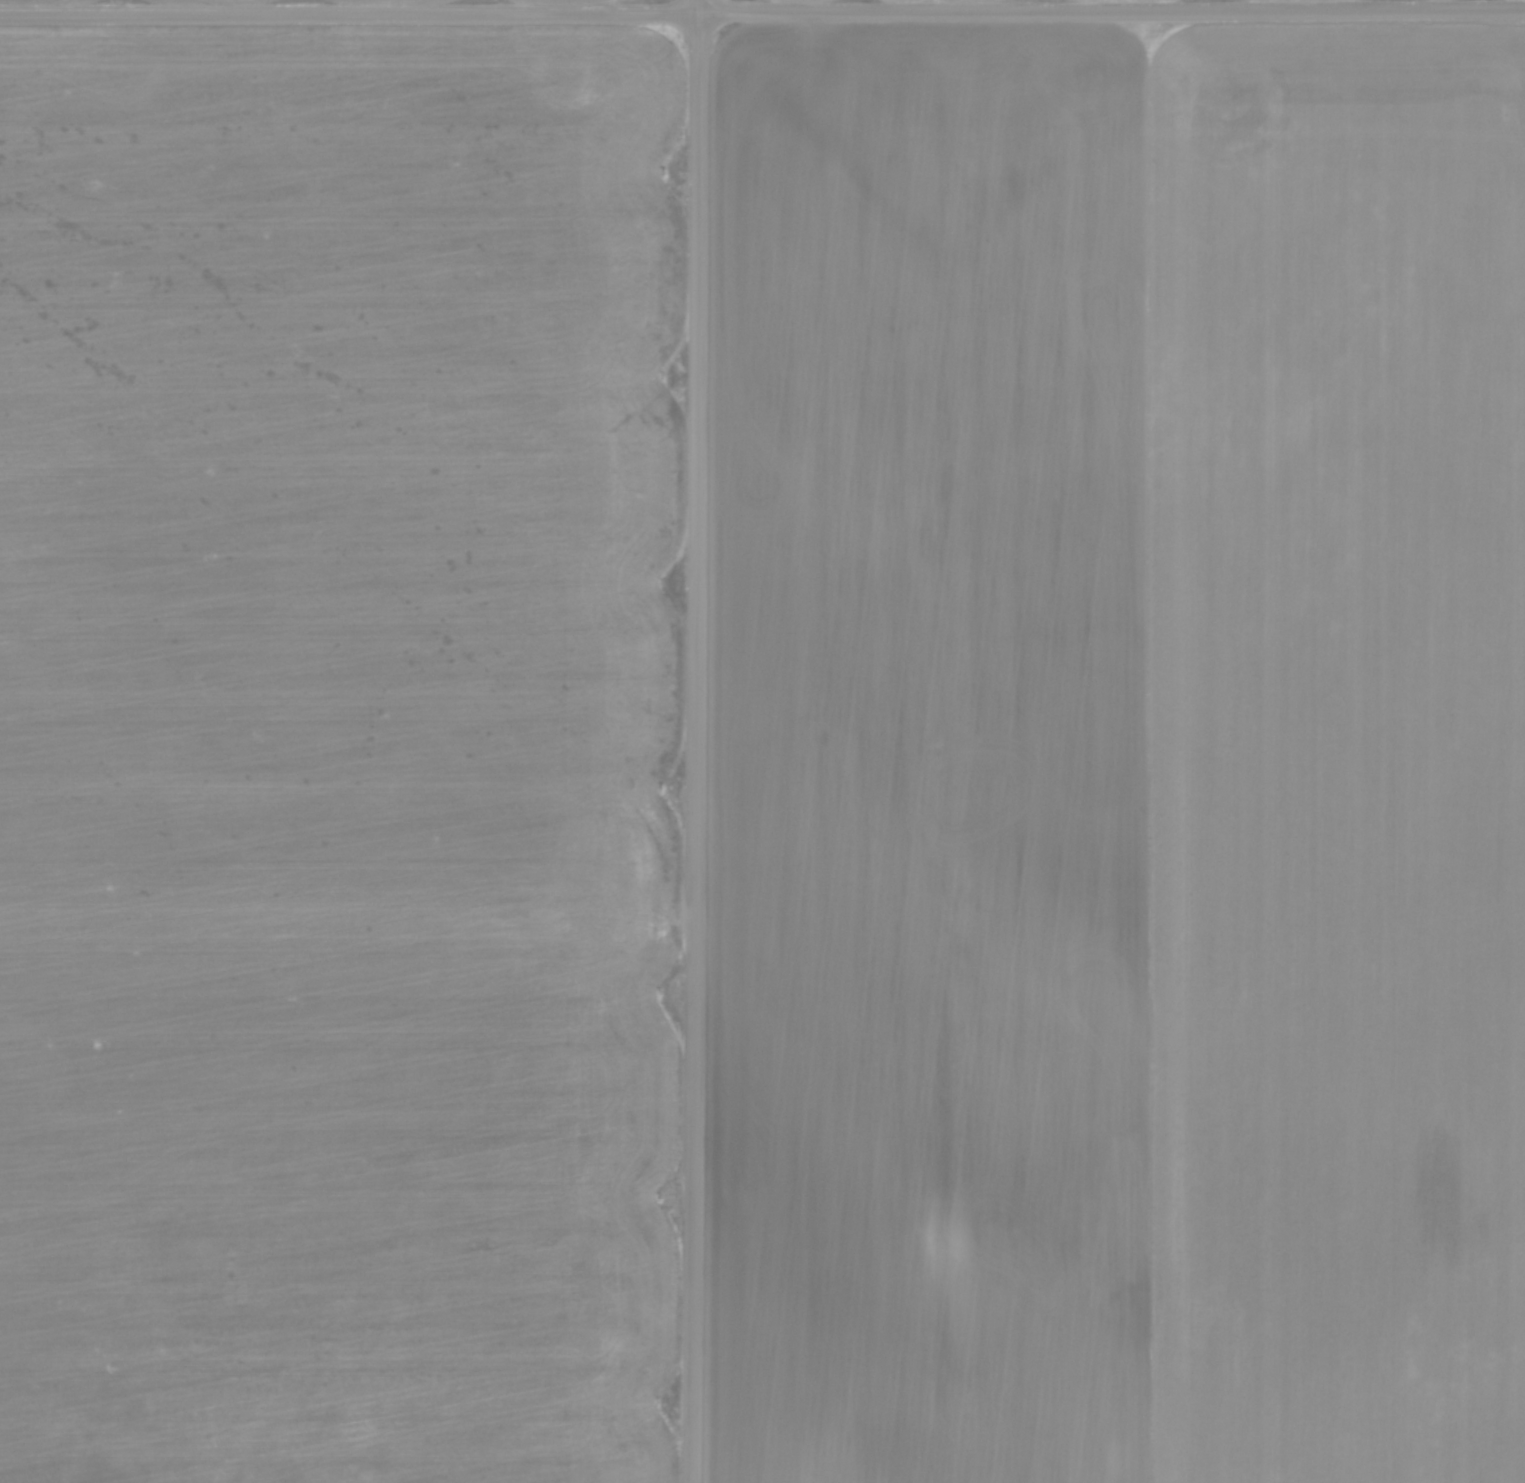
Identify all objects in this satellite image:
road: (762, 12)
road: (698, 741)
crop: (338, 755)
crop: (1120, 755)

